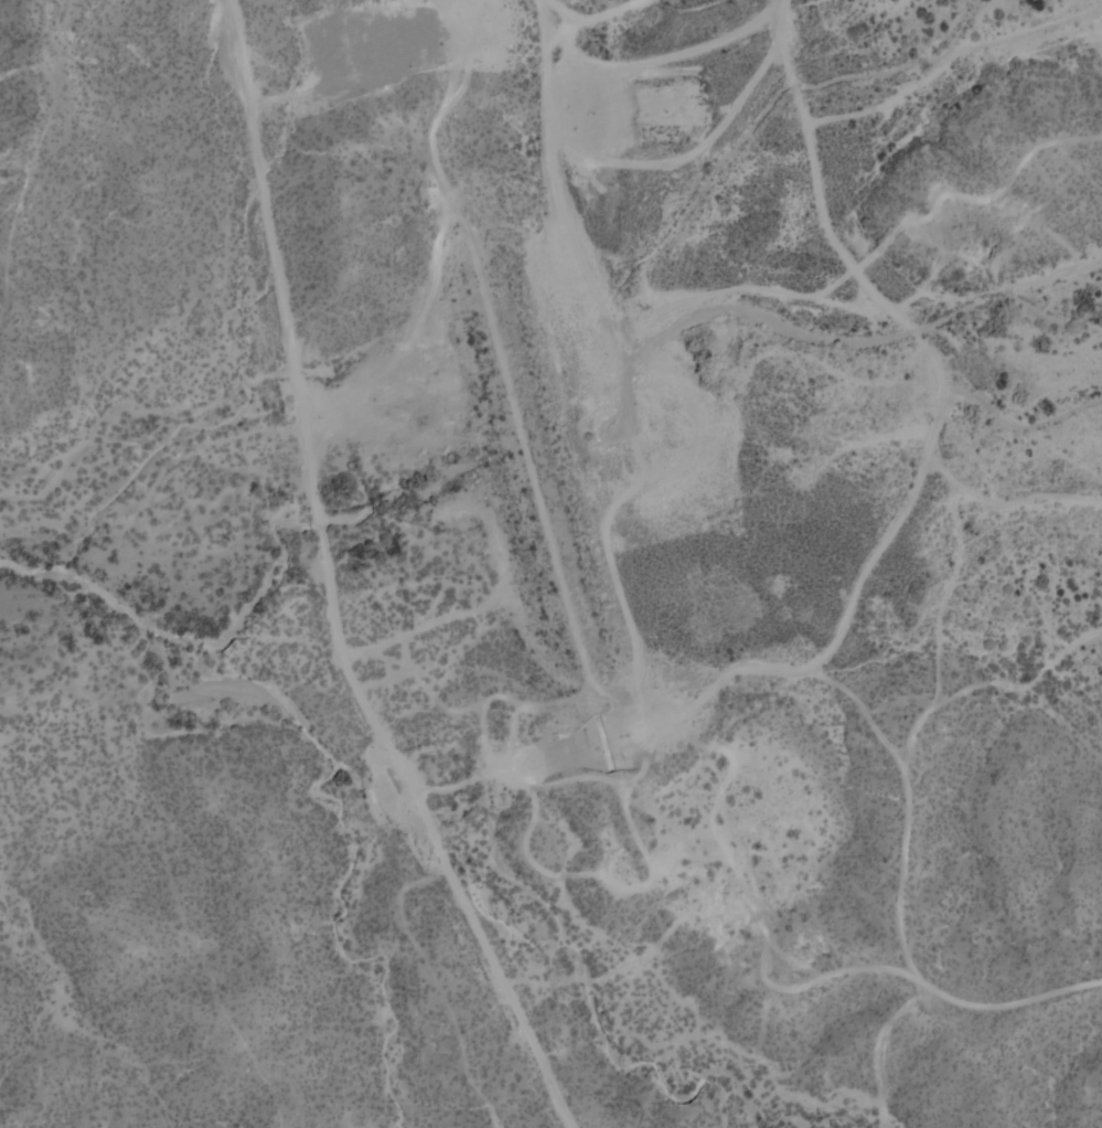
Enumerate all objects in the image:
road: (627, 3)
road: (1092, 36)
road: (930, 57)
road: (817, 193)
road: (996, 193)
road: (1004, 414)
dam: (547, 504)
road: (890, 529)
road: (327, 587)
road: (577, 632)
road: (992, 679)
road: (967, 1001)

